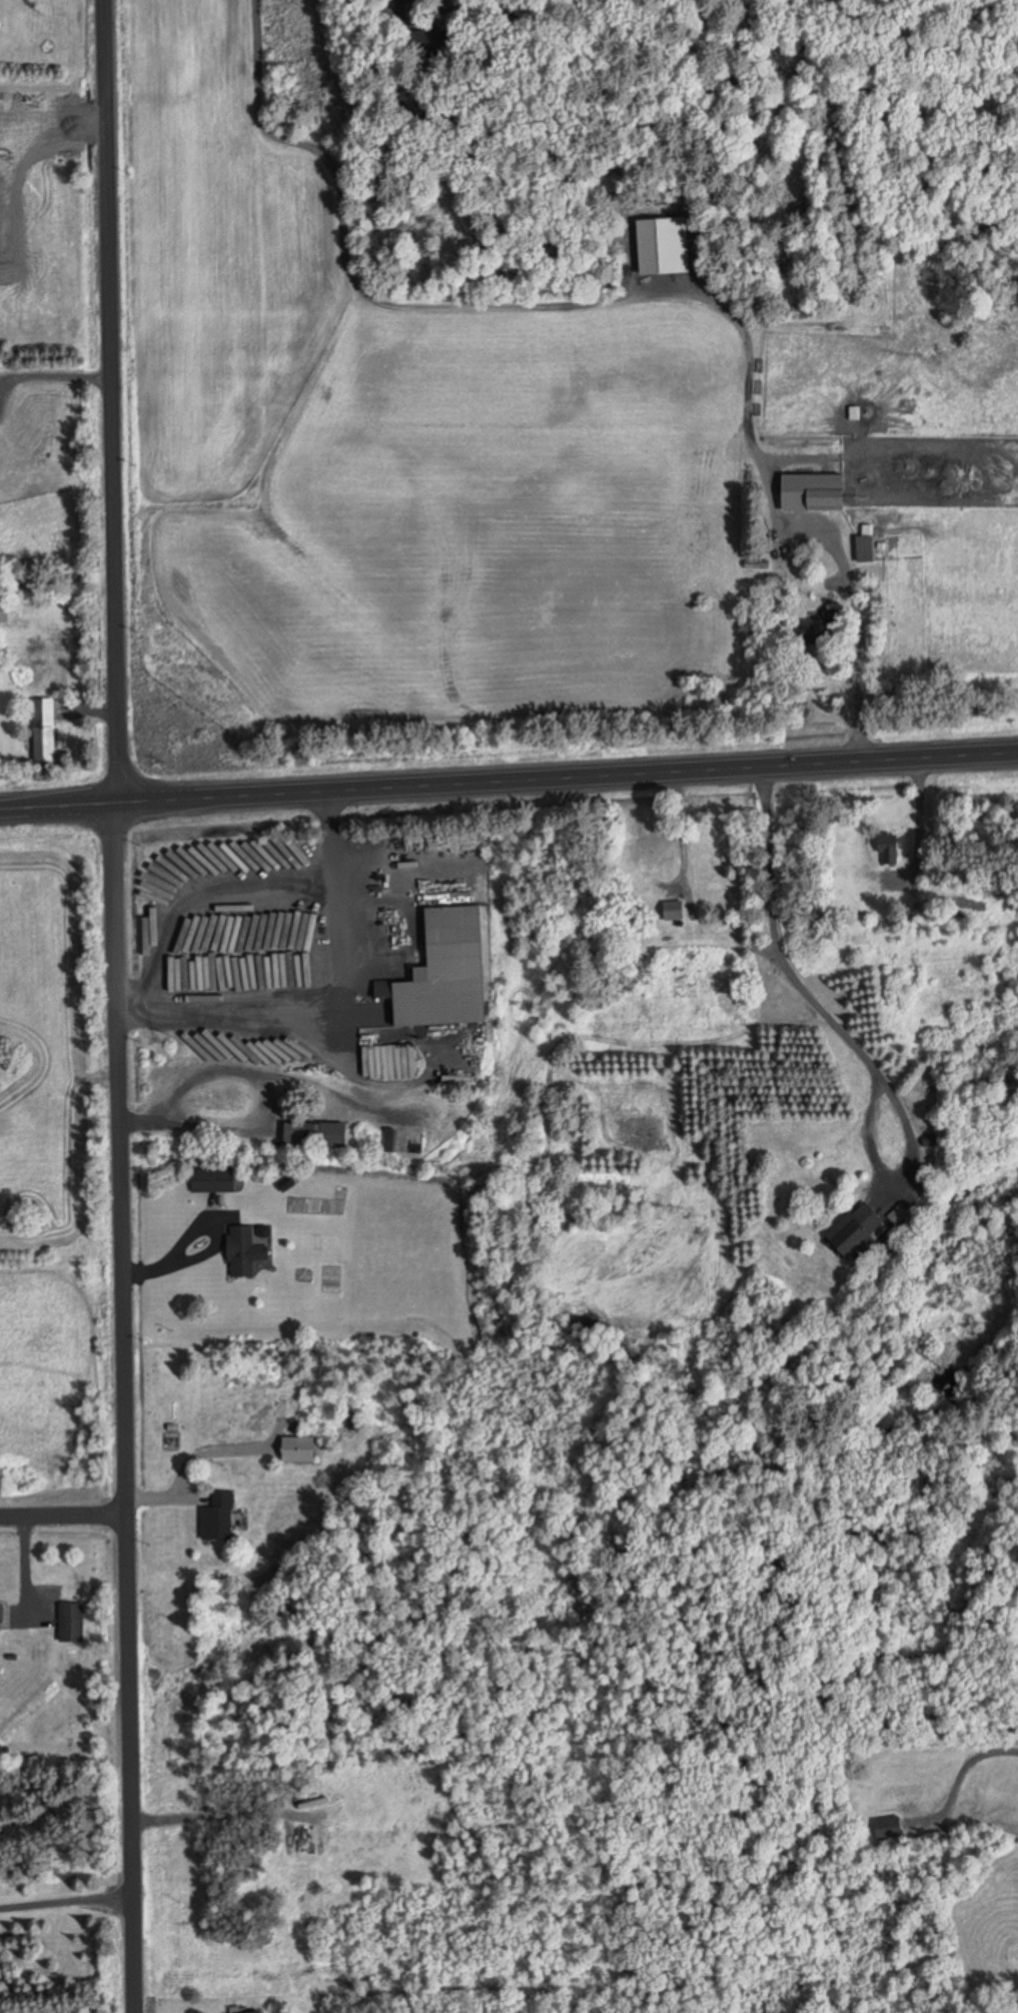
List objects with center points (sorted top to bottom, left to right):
building: (825, 500)
building: (865, 549)
building: (5, 614)
building: (821, 627)
building: (45, 730)
road: (508, 778)
building: (889, 848)
building: (636, 864)
building: (674, 910)
building: (449, 972)
road: (116, 1006)
building: (318, 1135)
building: (214, 1180)
building: (856, 1229)
building: (246, 1252)
building: (302, 1452)
road: (62, 1515)
building: (222, 1517)
building: (73, 1623)
building: (888, 1827)
building: (260, 2012)

